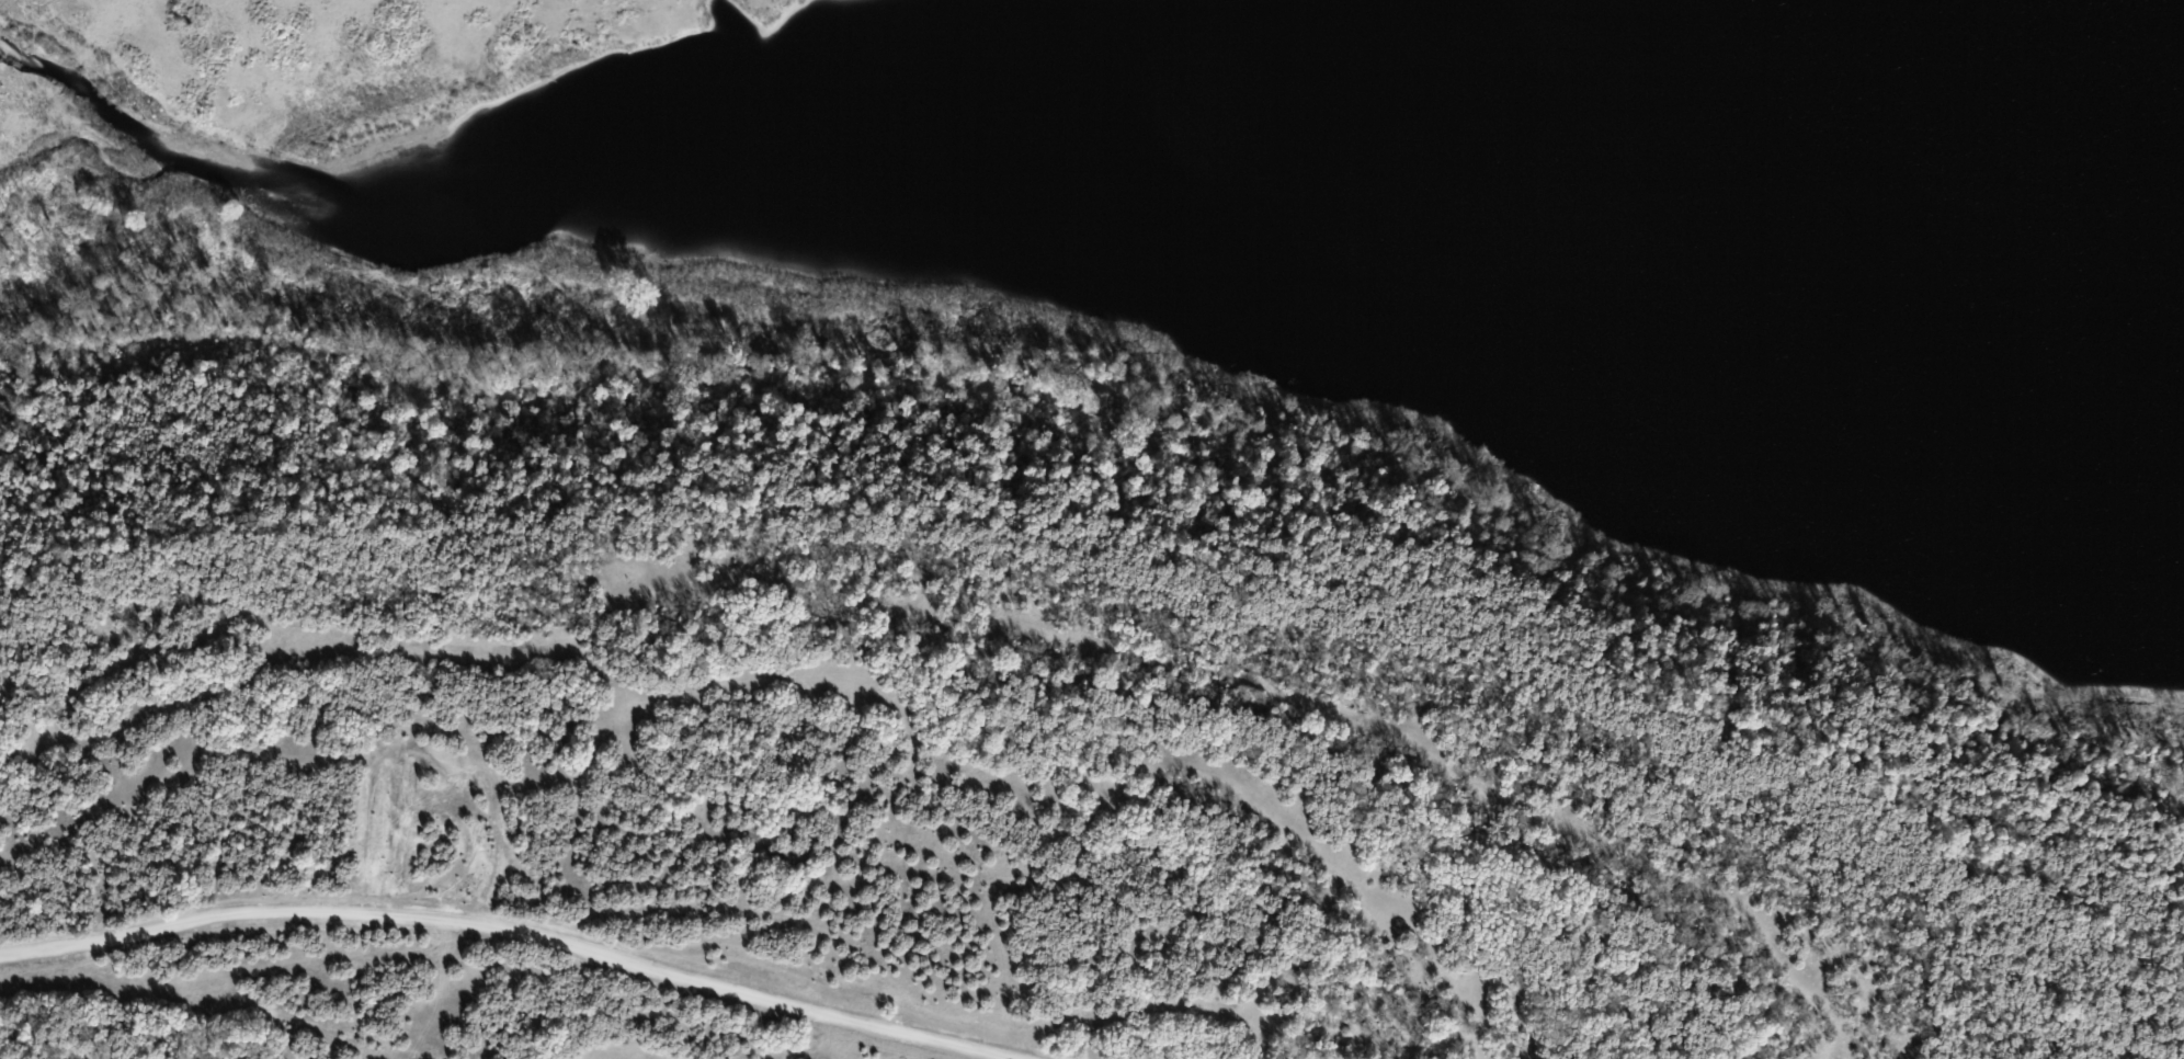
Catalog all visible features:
road: (515, 933)

